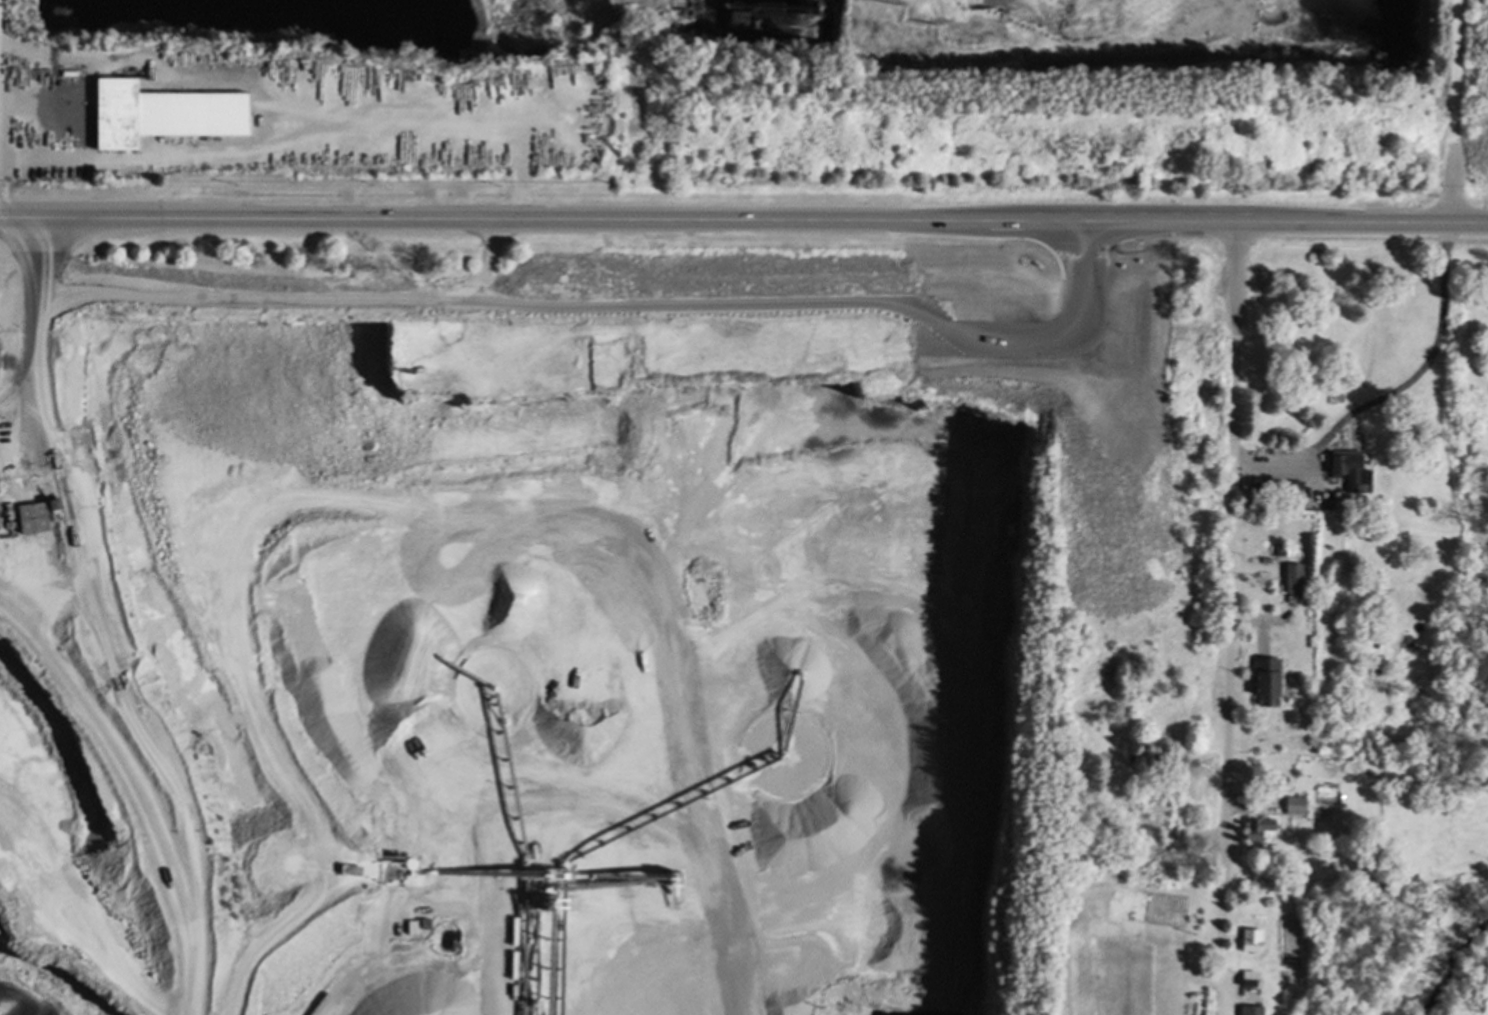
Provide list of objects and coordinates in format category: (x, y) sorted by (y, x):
road: (1451, 110)
building: (117, 112)
road: (744, 222)
road: (39, 283)
building: (9, 306)
road: (559, 371)
road: (1393, 390)
building: (1348, 469)
building: (1293, 488)
quarry: (642, 489)
building: (32, 516)
building: (1293, 578)
road: (1229, 619)
building: (1265, 680)
building: (1293, 804)
building: (1256, 827)
building: (1250, 939)
building: (1247, 978)
building: (1249, 1009)

